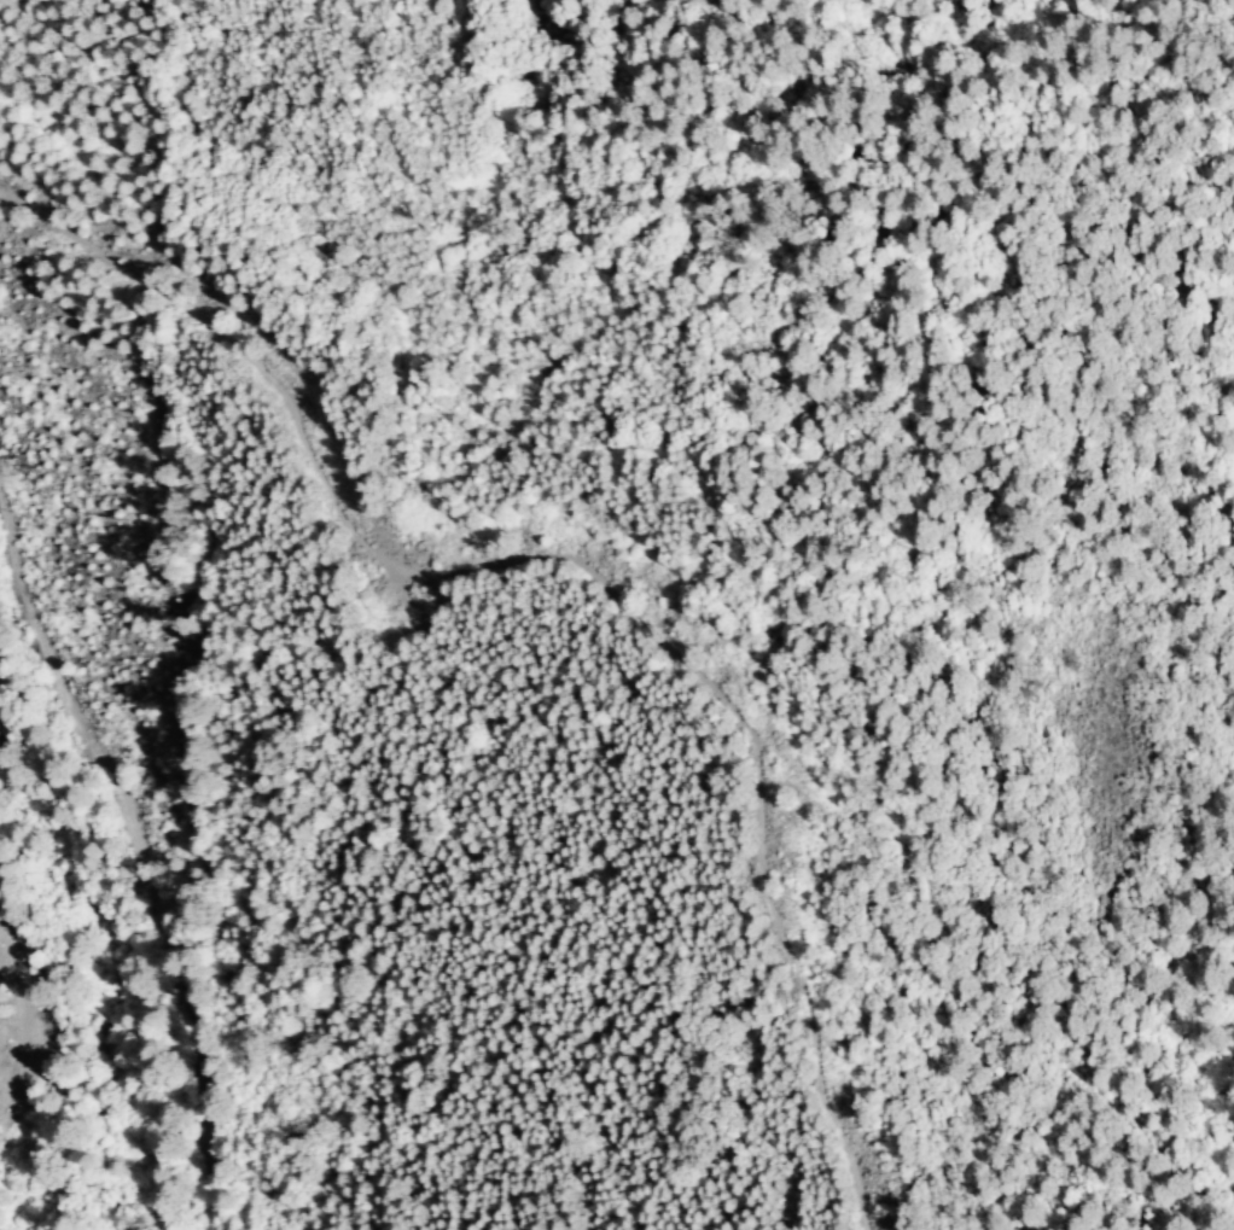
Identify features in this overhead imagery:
road: (1044, 33)
road: (377, 550)

